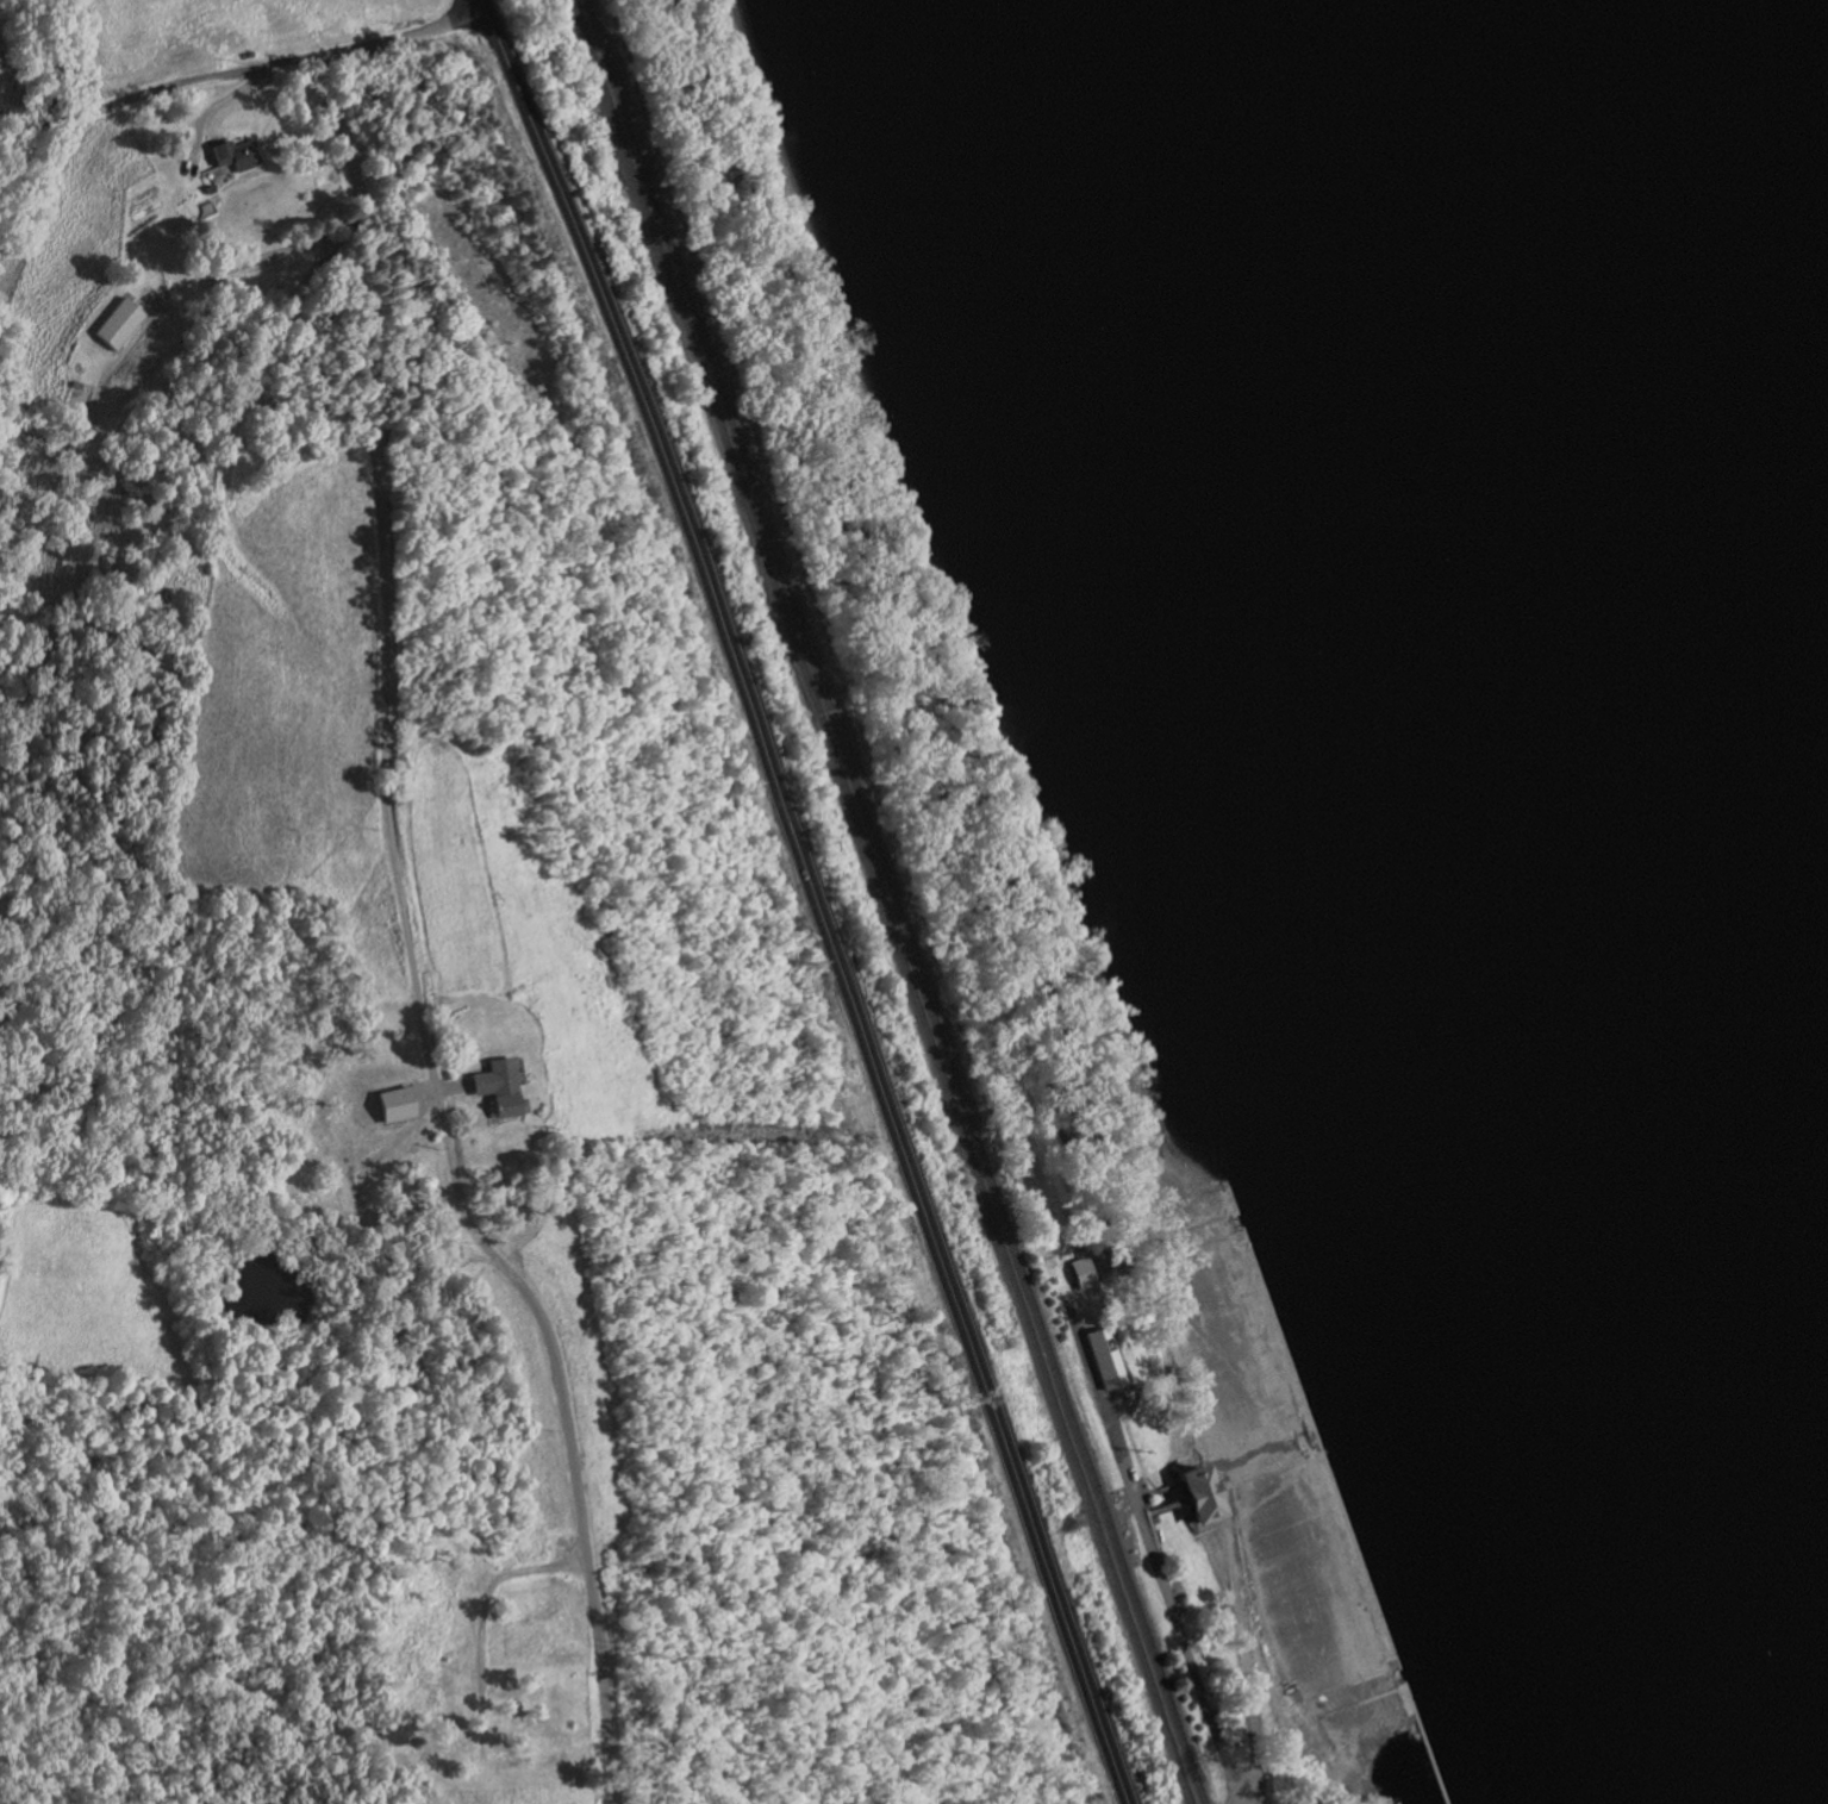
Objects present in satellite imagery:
road: (243, 73)
river: (1578, 637)
road: (398, 884)
road: (811, 897)
railway: (880, 903)
railway: (891, 903)
building: (1078, 1274)
building: (1106, 1359)
road: (1159, 1491)
road: (1141, 1497)
building: (1186, 1498)
road: (1155, 1510)
road: (1146, 1542)
road: (1237, 1613)
road: (1298, 1702)
road: (1246, 1775)

